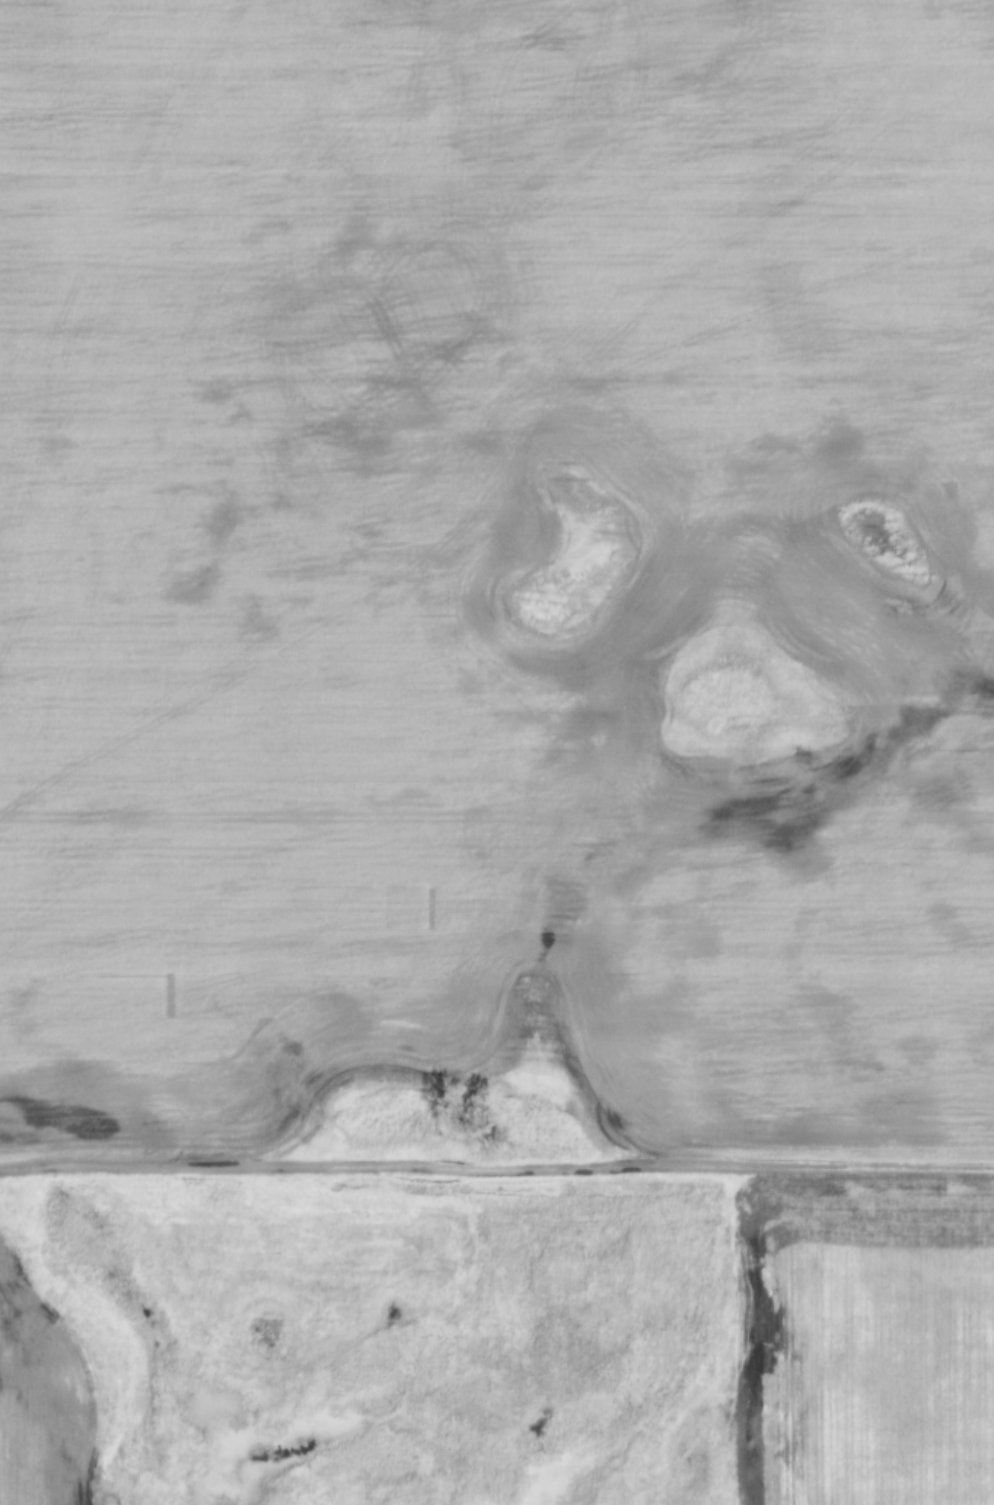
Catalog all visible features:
road: (497, 1166)

